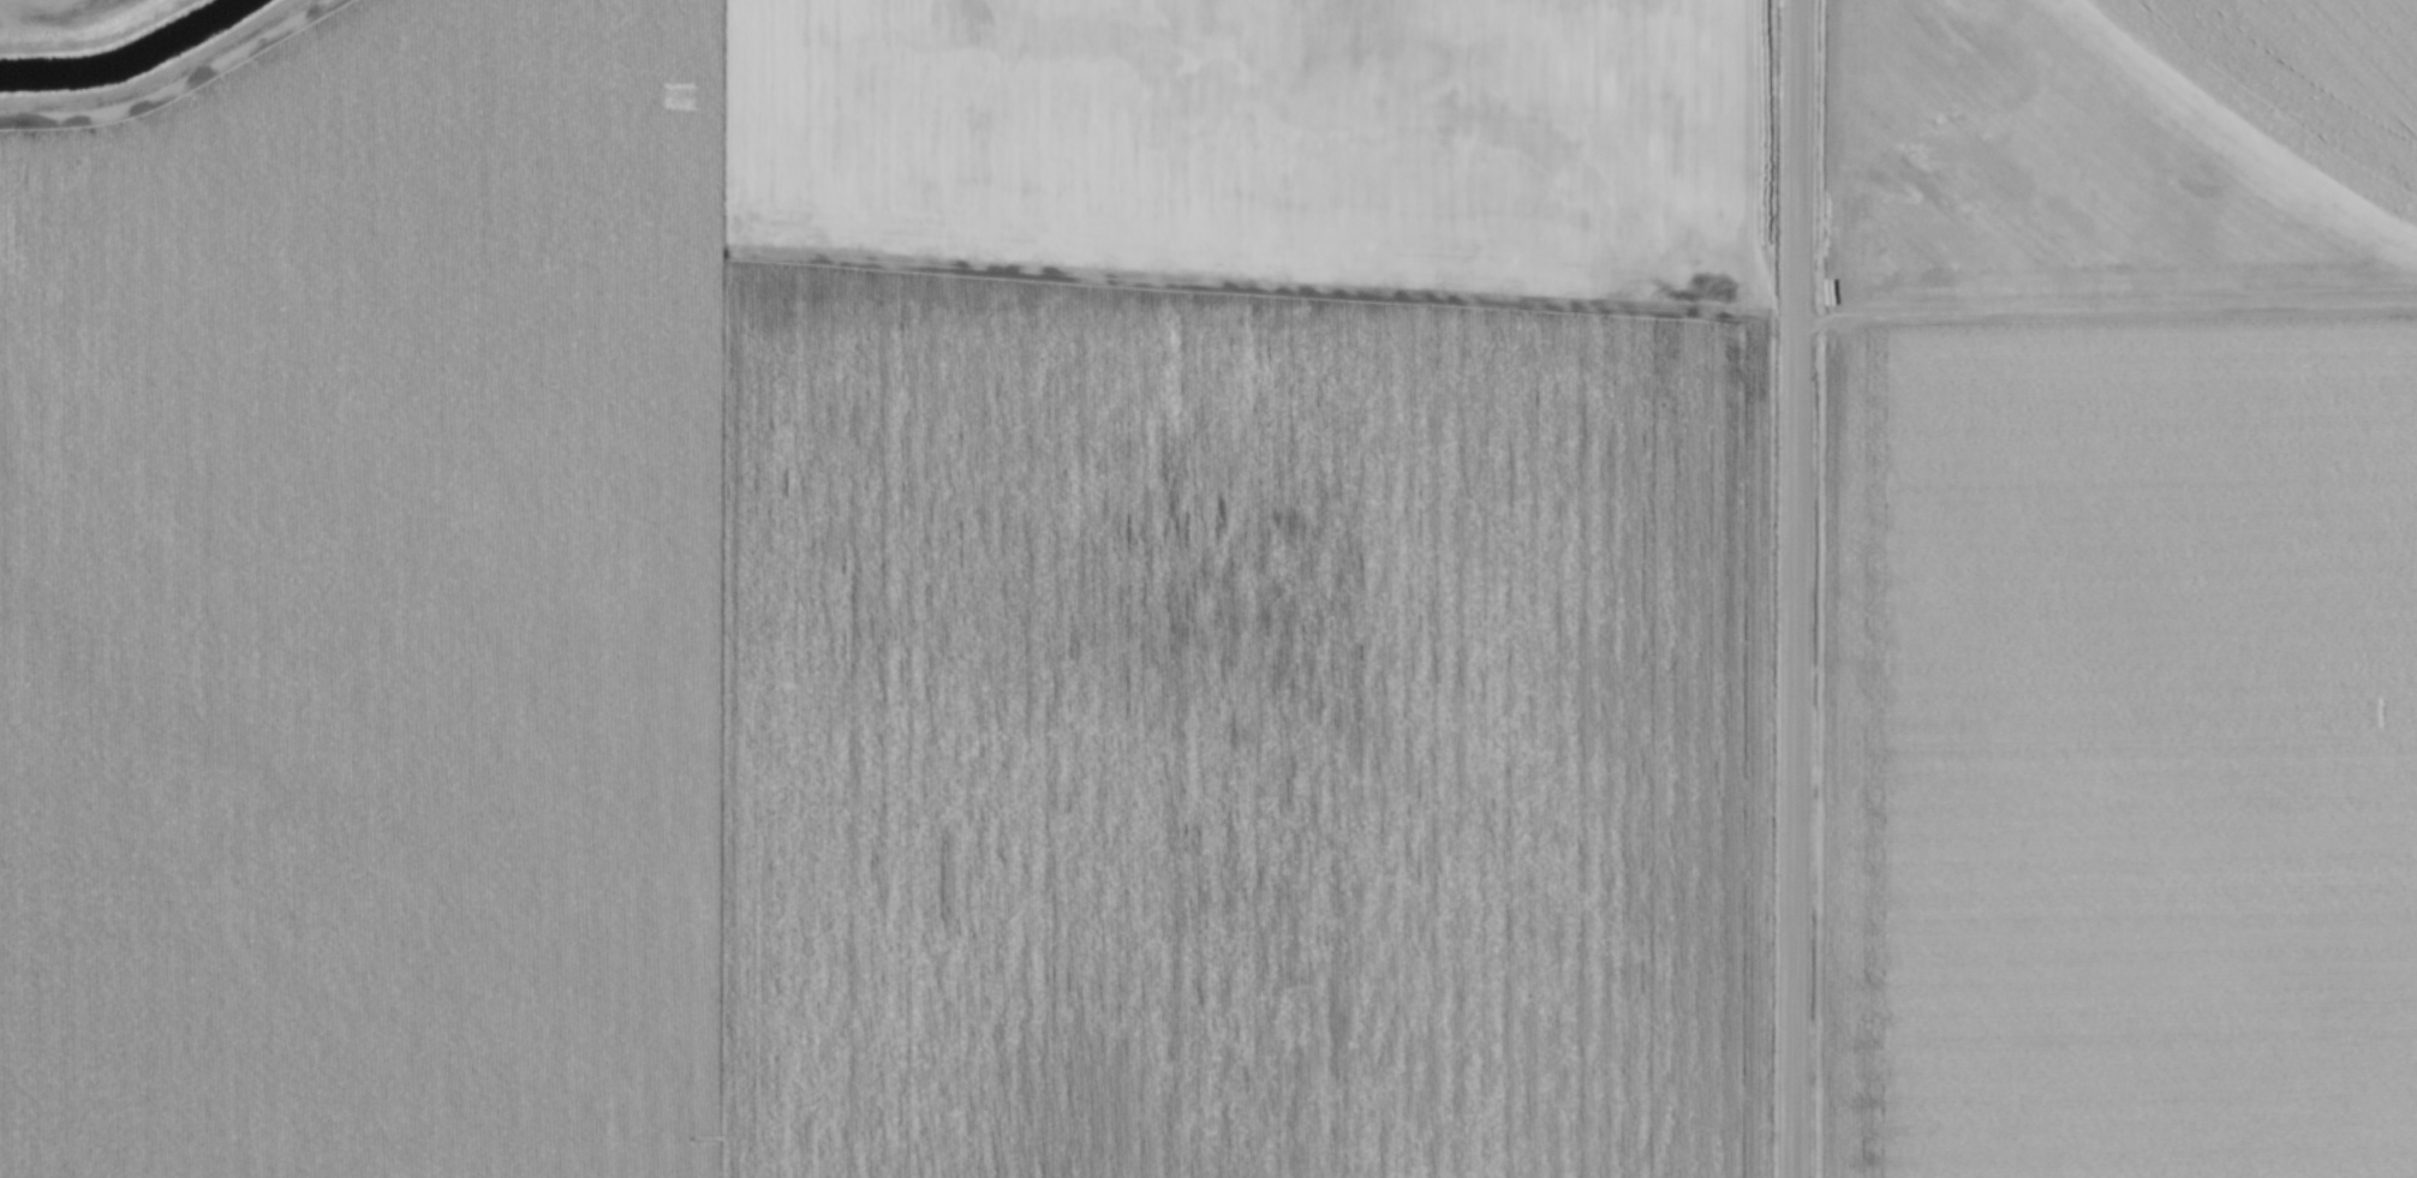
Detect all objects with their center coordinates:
crop: (22, 8)
road: (1791, 588)
crop: (2121, 590)
crop: (895, 597)

